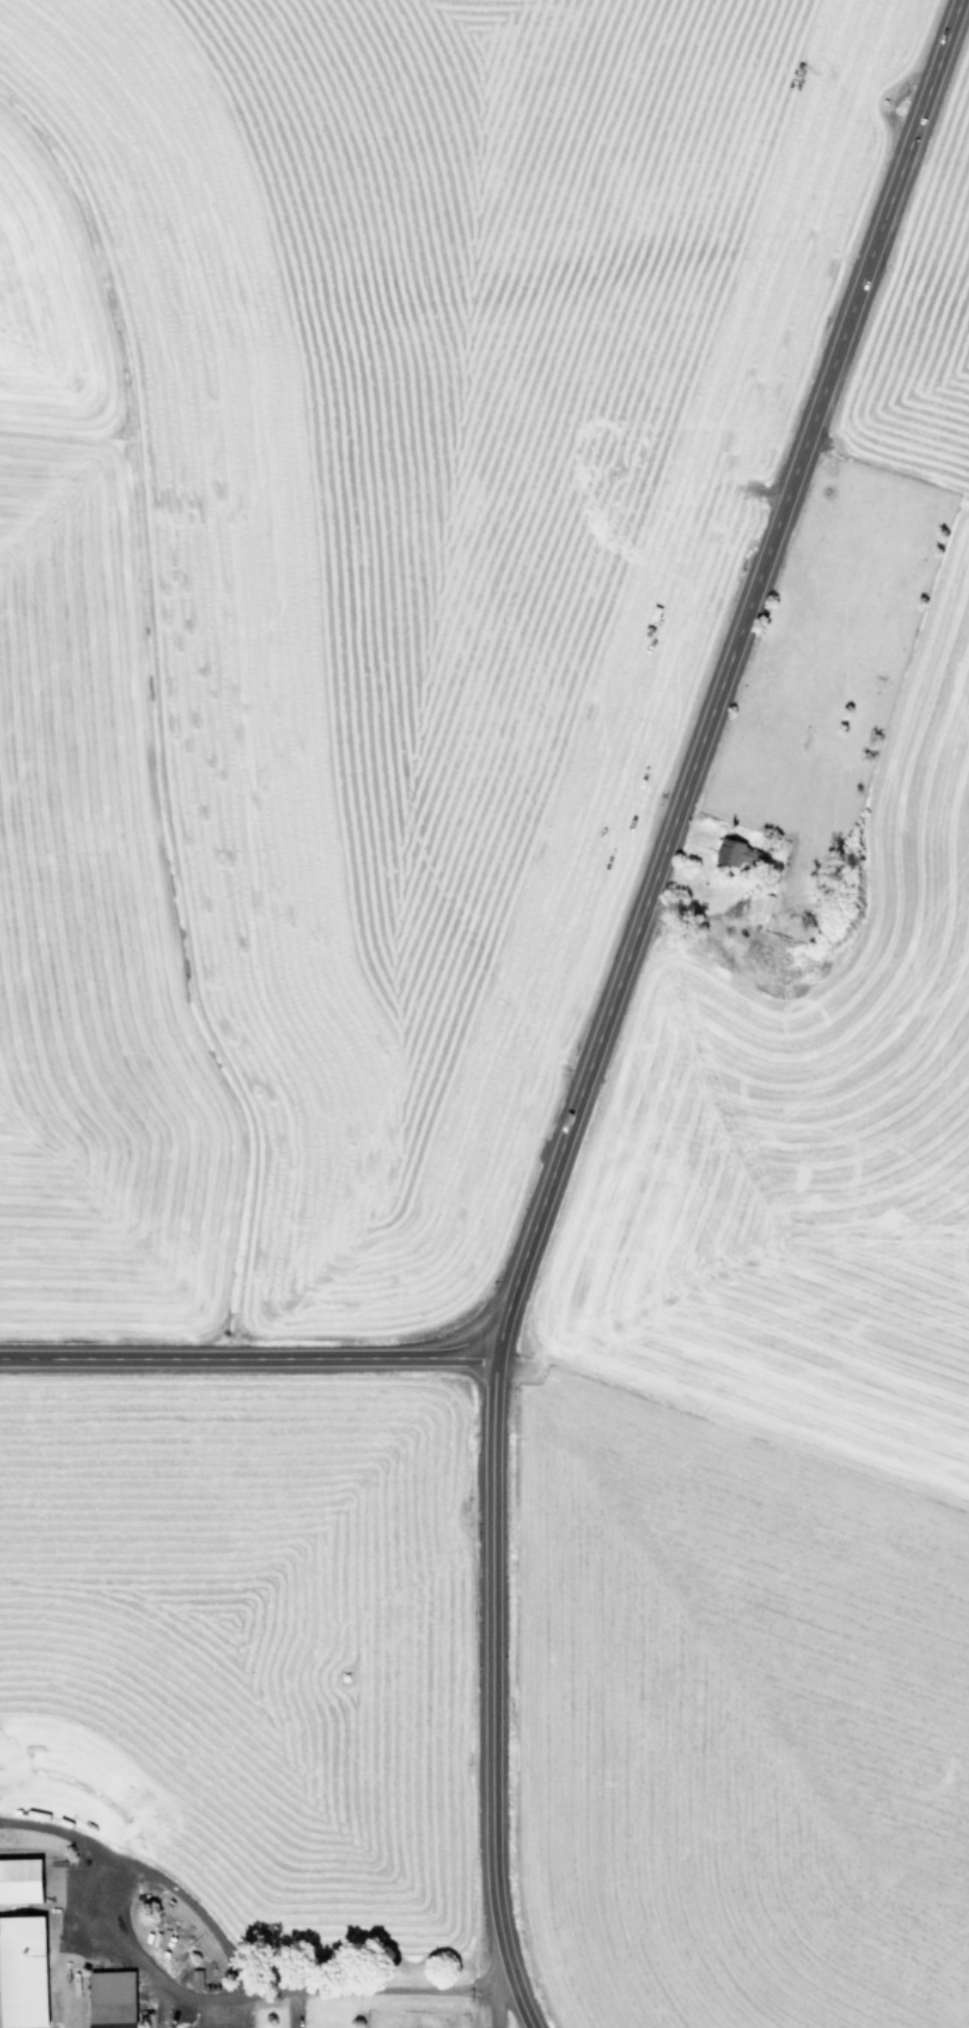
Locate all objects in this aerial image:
road: (725, 679)
crop: (314, 863)
road: (701, 913)
crop: (786, 1306)
road: (244, 1358)
road: (489, 1696)
road: (69, 1833)
building: (23, 1972)
road: (177, 1991)
building: (112, 1999)
road: (494, 2002)

